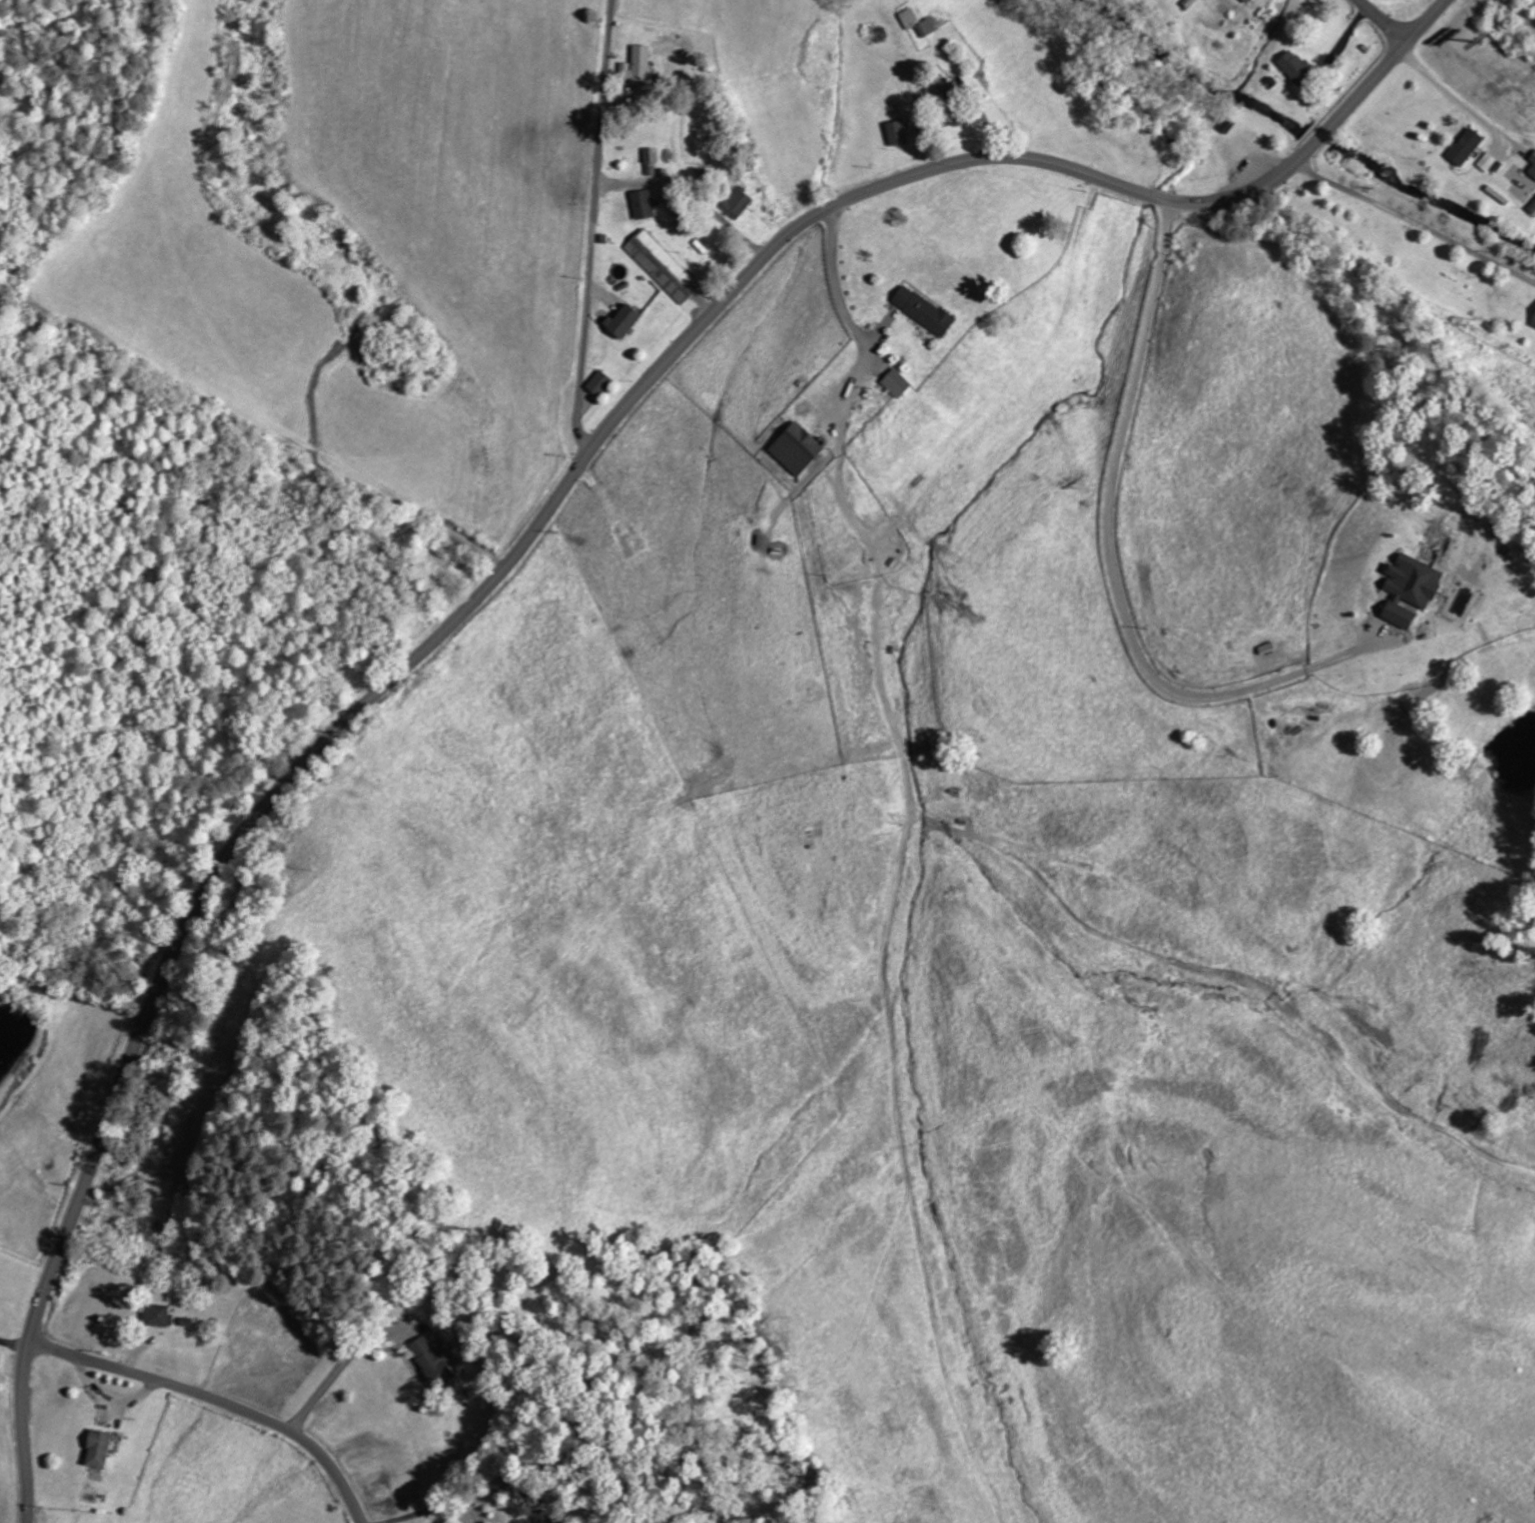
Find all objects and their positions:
building: (1247, 1)
road: (1383, 22)
building: (927, 28)
building: (638, 65)
building: (1295, 66)
building: (897, 132)
building: (1466, 146)
building: (650, 155)
building: (1533, 158)
building: (1488, 162)
building: (1533, 170)
building: (741, 200)
building: (643, 203)
building: (1532, 208)
building: (663, 267)
building: (924, 310)
building: (624, 320)
building: (1533, 324)
building: (600, 383)
building: (897, 383)
building: (797, 448)
road: (534, 530)
building: (1410, 589)
building: (158, 1316)
building: (432, 1363)
road: (218, 1400)
building: (99, 1449)
building: (544, 1517)

